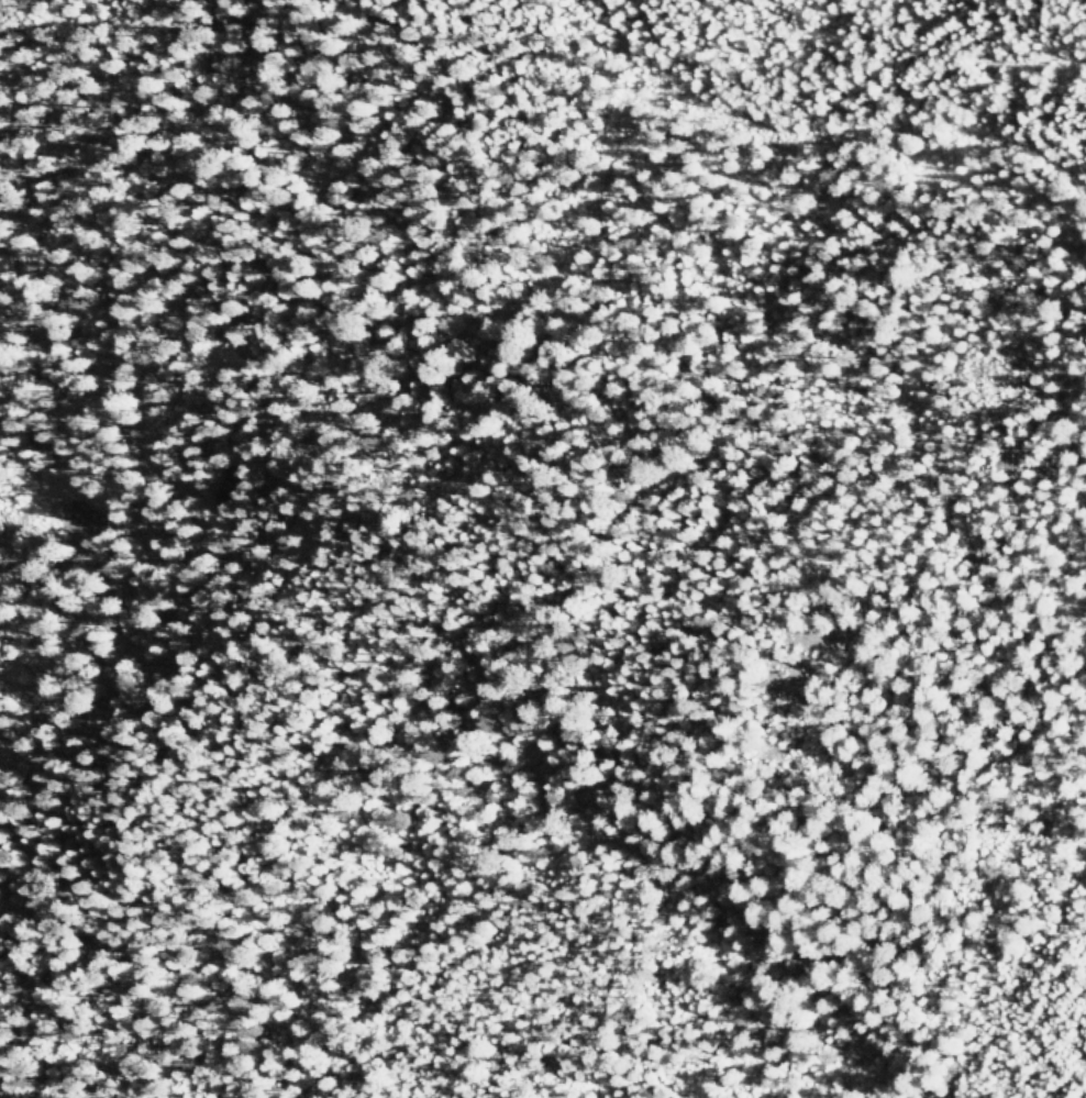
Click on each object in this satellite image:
road: (33, 35)
road: (64, 866)

